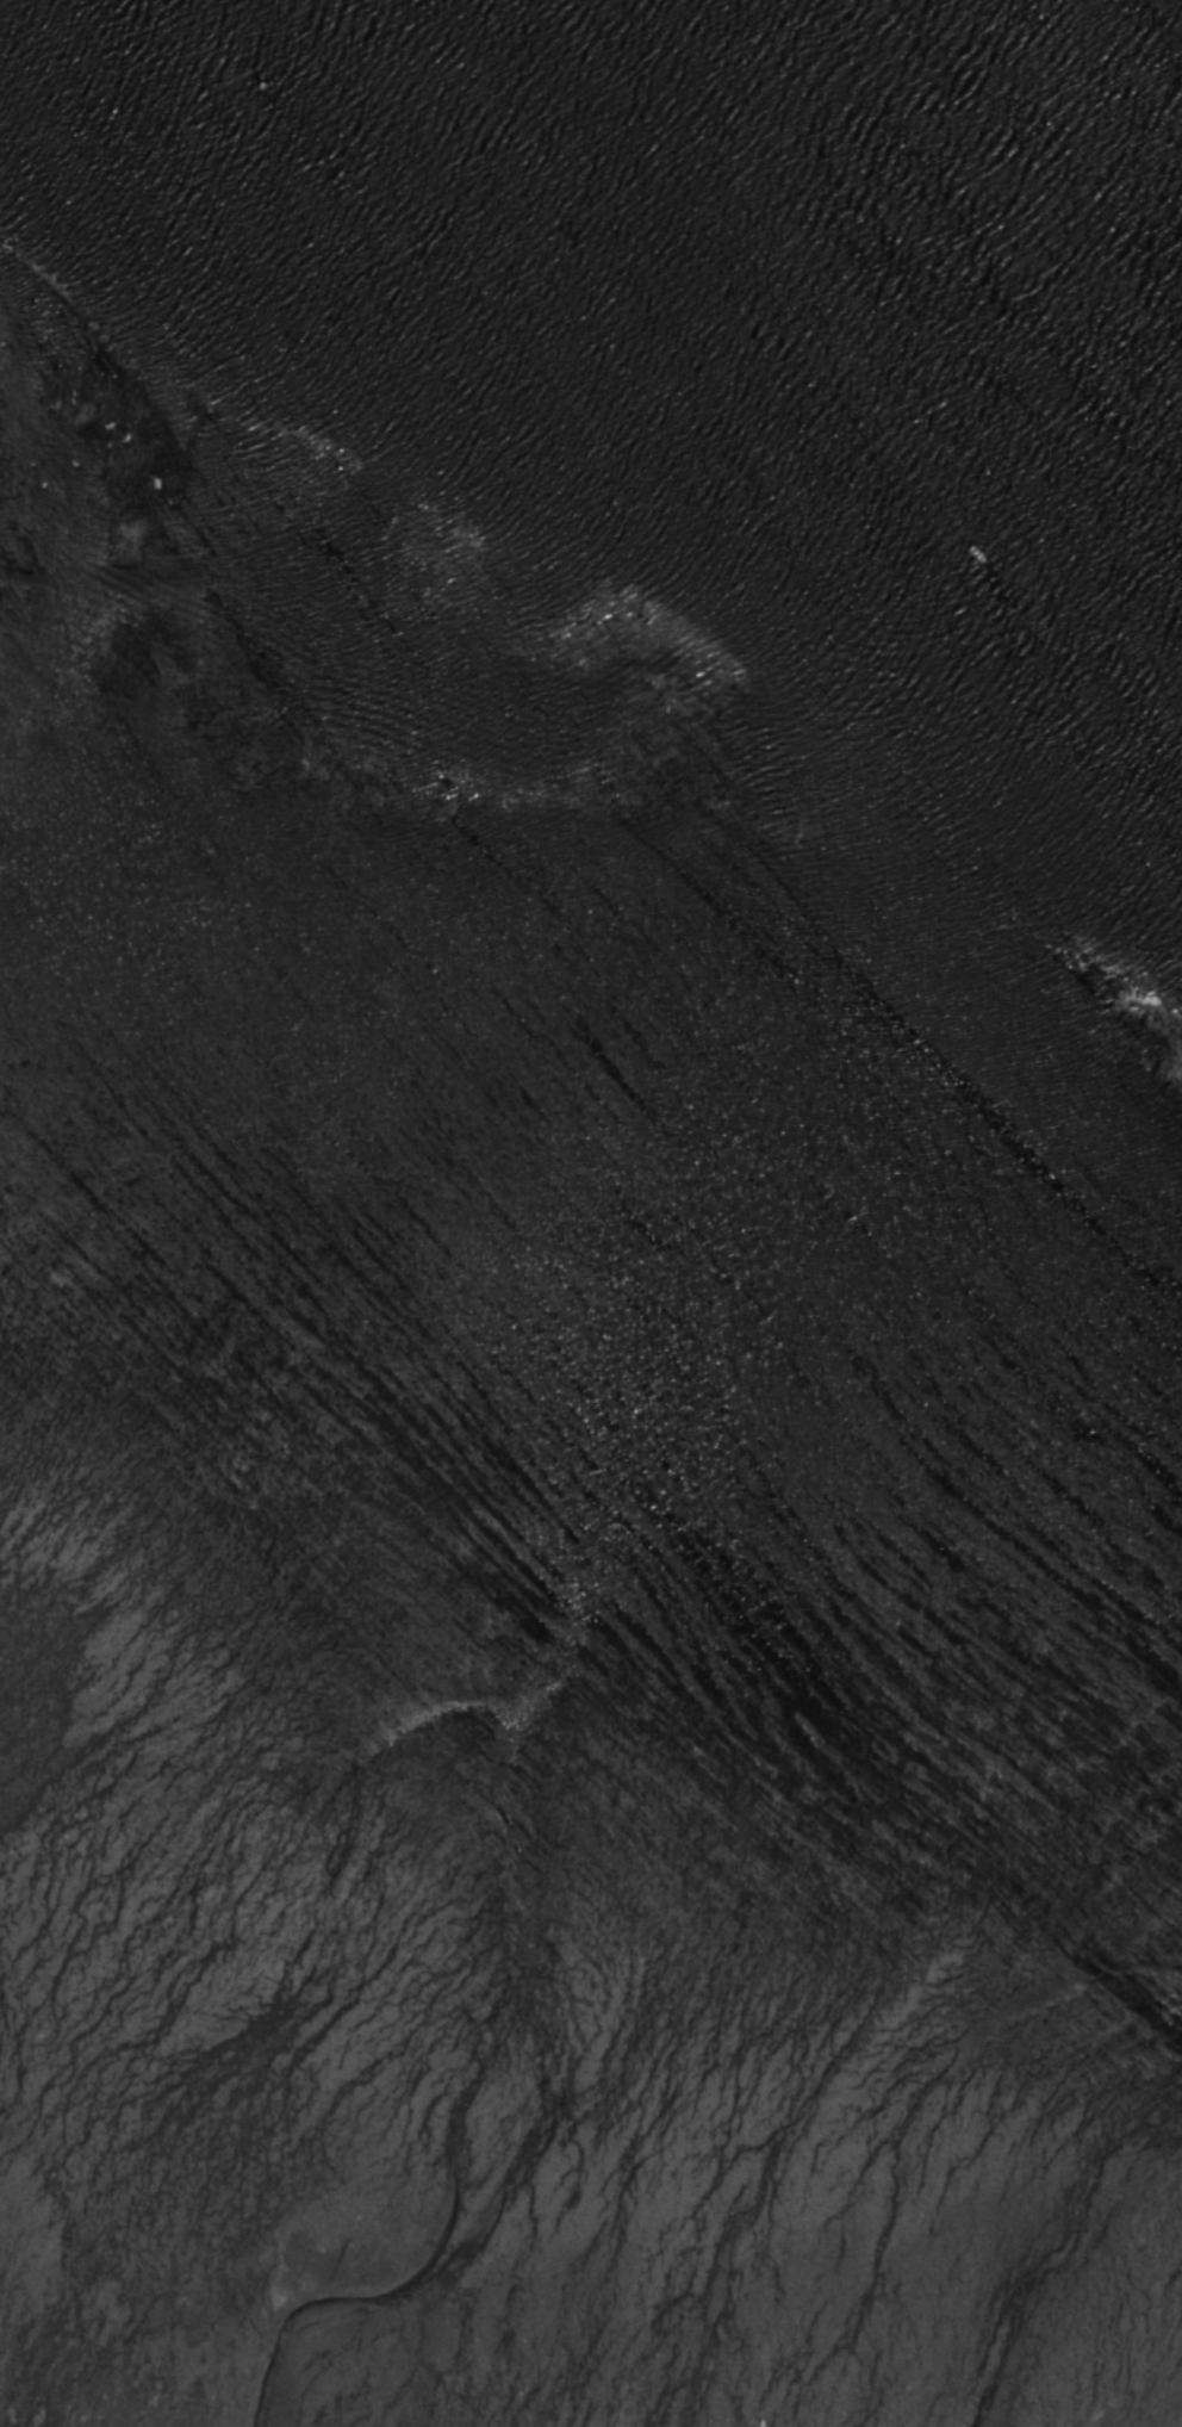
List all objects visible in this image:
river: (976, 139)

